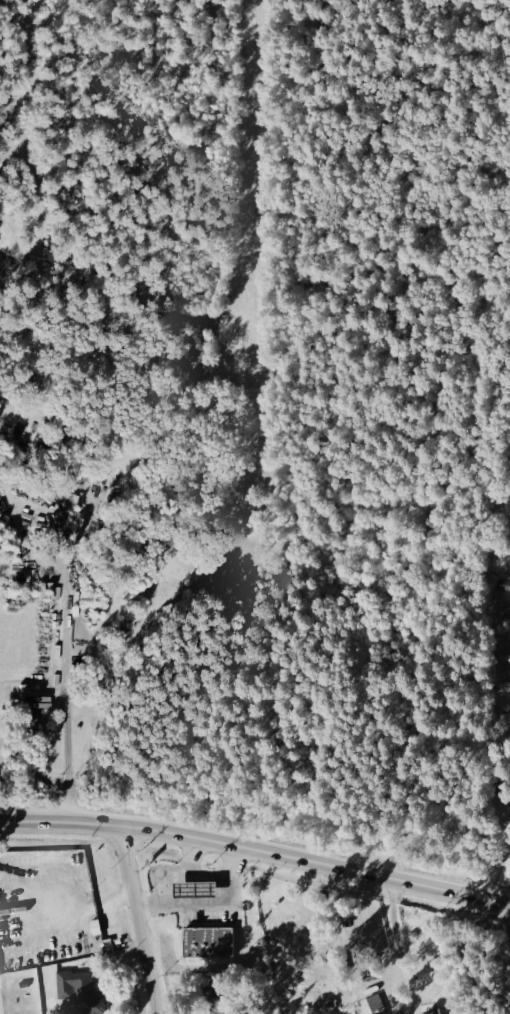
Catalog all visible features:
building: (502, 583)
building: (508, 660)
building: (505, 686)
road: (67, 704)
building: (504, 725)
road: (256, 852)
road: (497, 865)
road: (172, 873)
road: (208, 876)
building: (202, 889)
road: (208, 907)
road: (341, 910)
road: (136, 921)
building: (214, 941)
road: (404, 972)
building: (86, 991)

